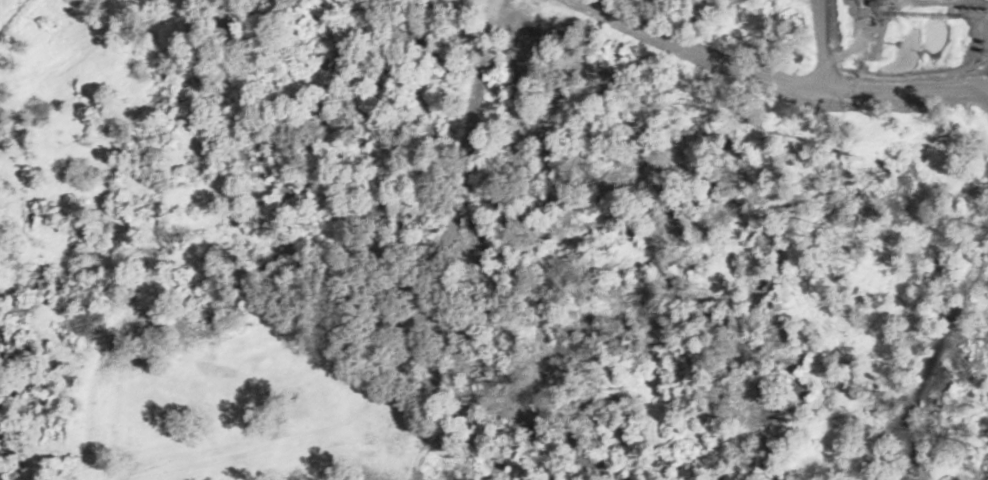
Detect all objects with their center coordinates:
road: (782, 74)

